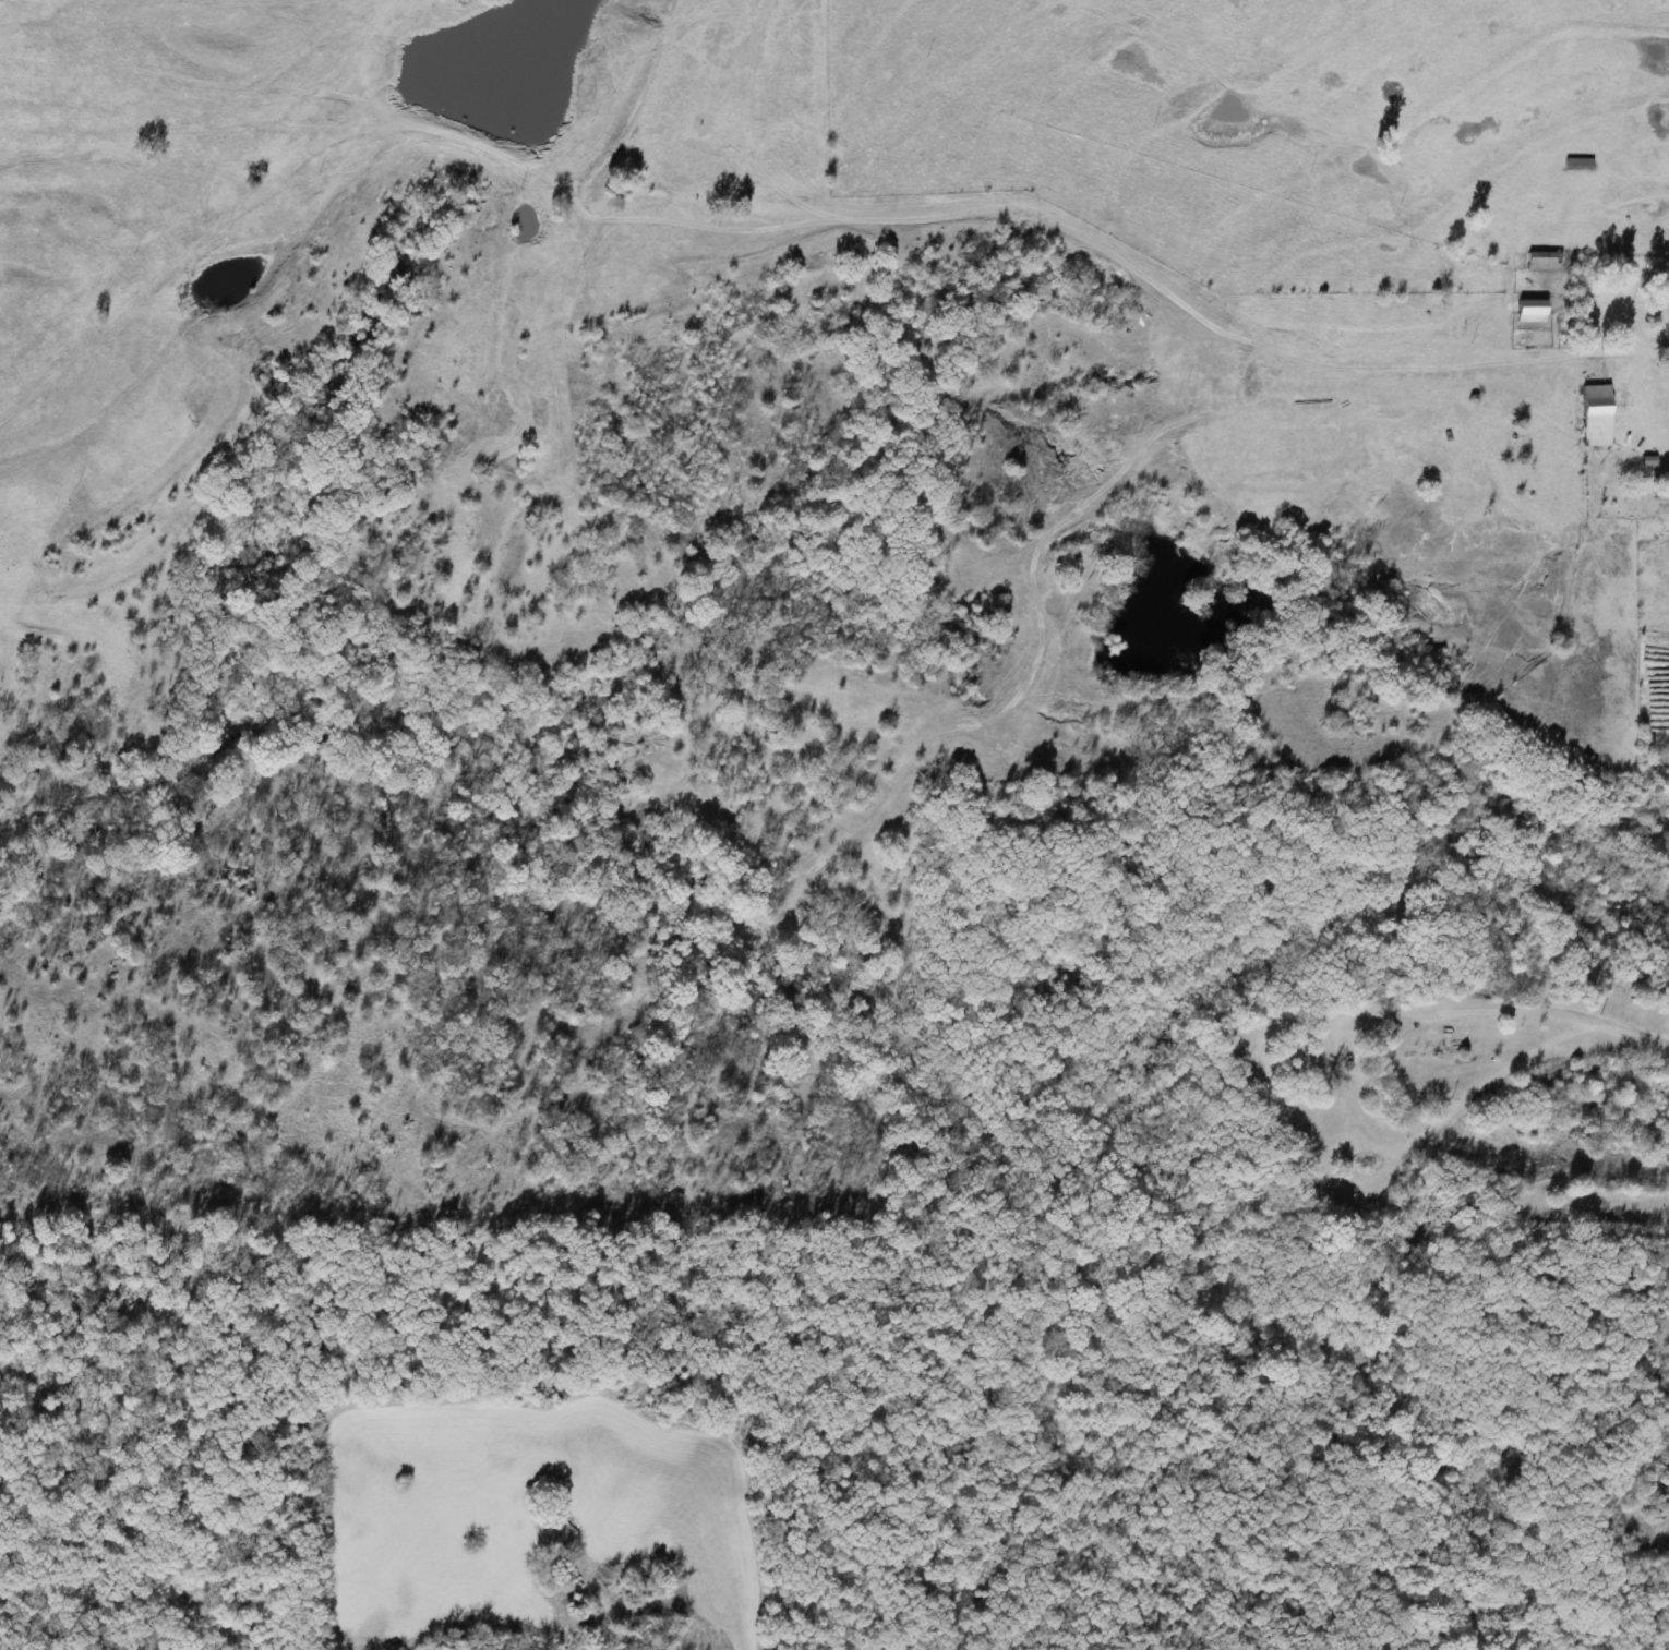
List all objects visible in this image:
building: (1576, 164)
building: (1540, 262)
building: (1666, 303)
building: (1528, 312)
building: (1593, 415)
building: (1328, 1046)

